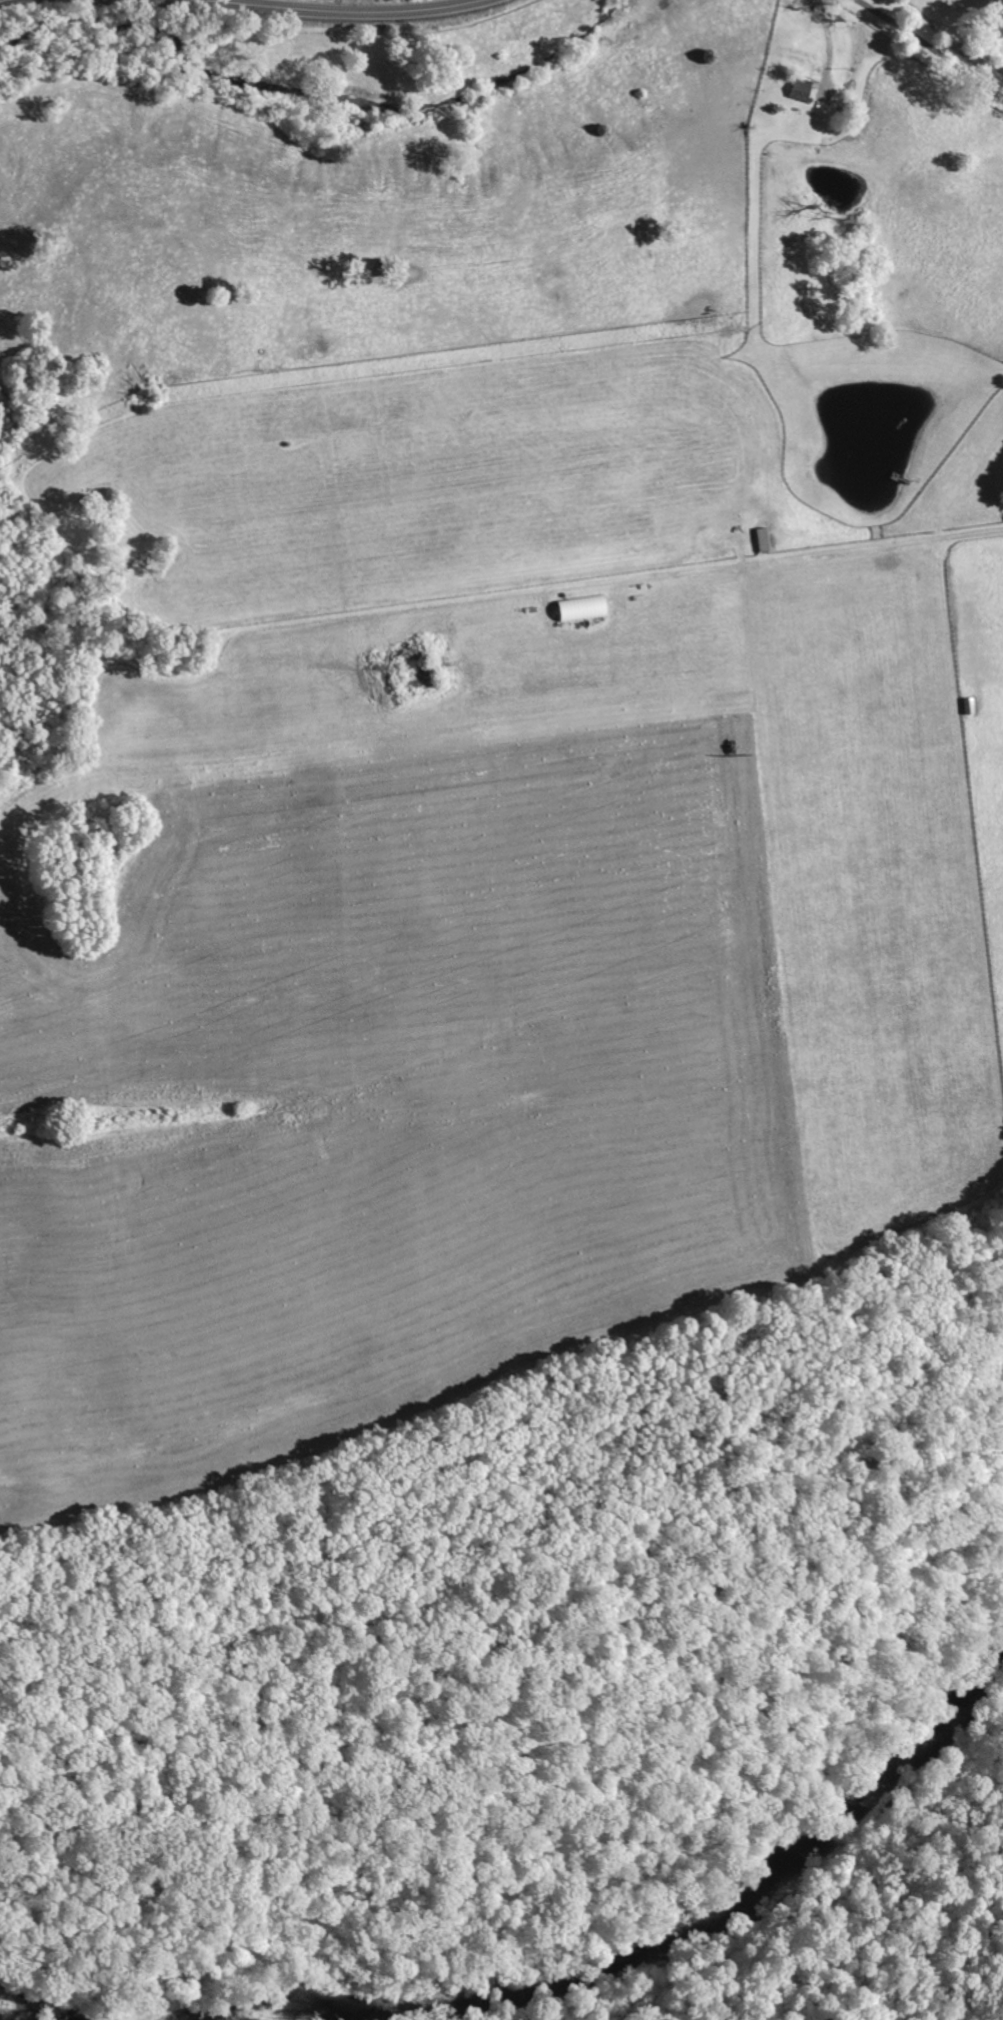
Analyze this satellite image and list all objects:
road: (347, 9)
road: (832, 41)
road: (929, 47)
building: (797, 88)

